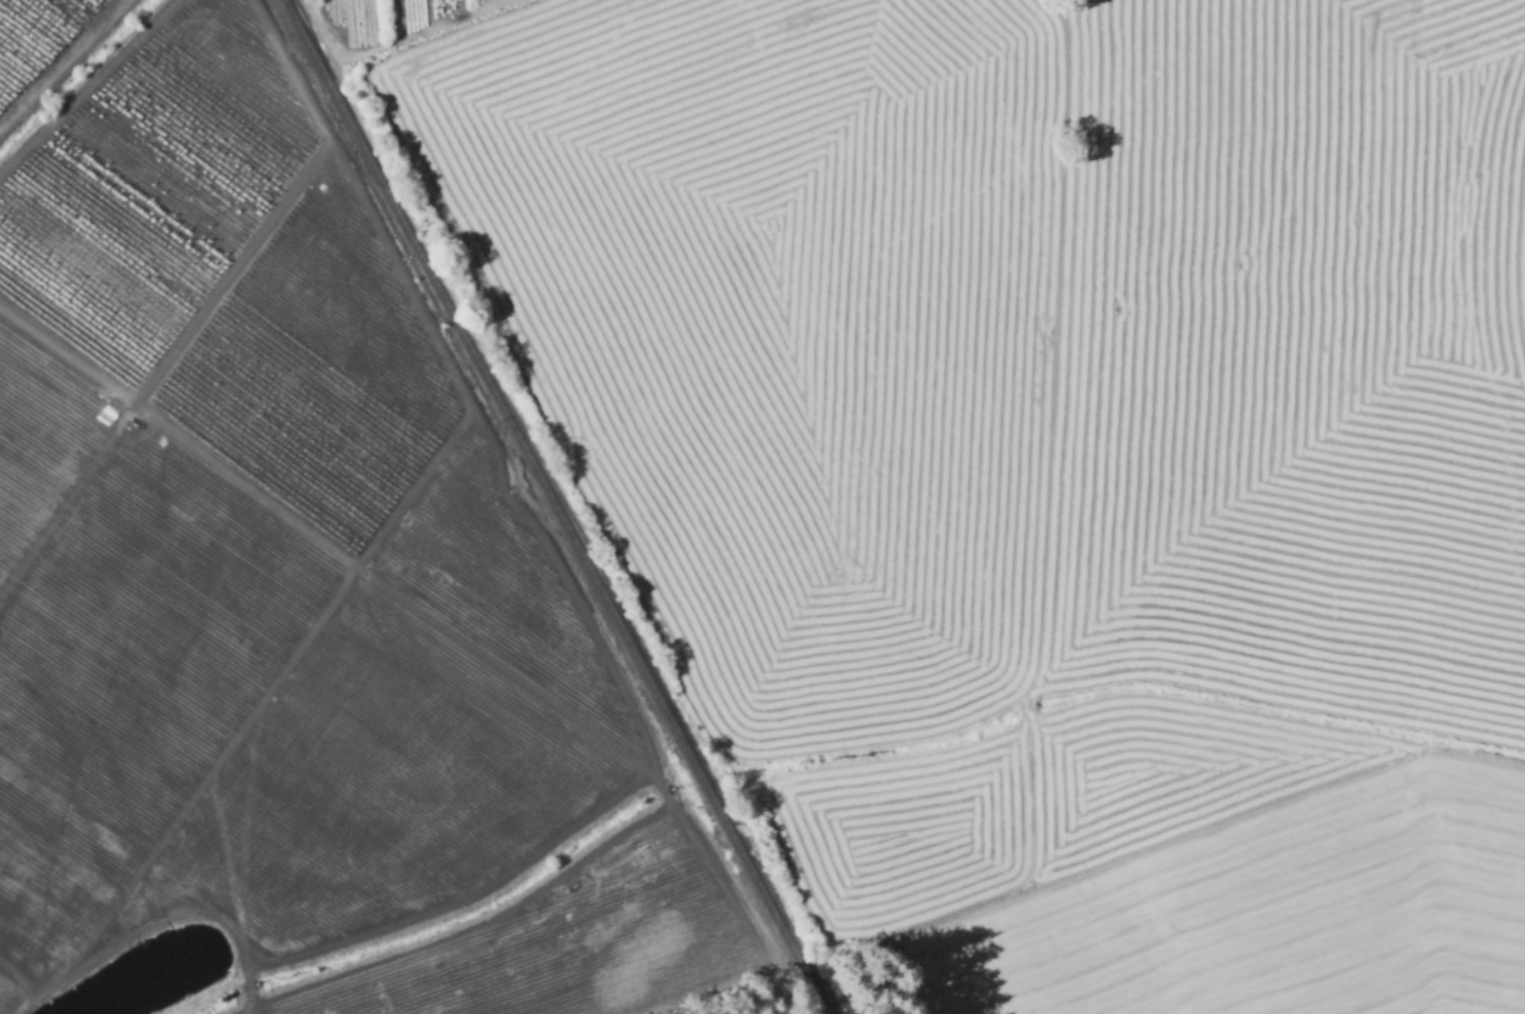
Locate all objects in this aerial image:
crop: (1045, 462)
railway: (556, 507)
crop: (274, 592)

